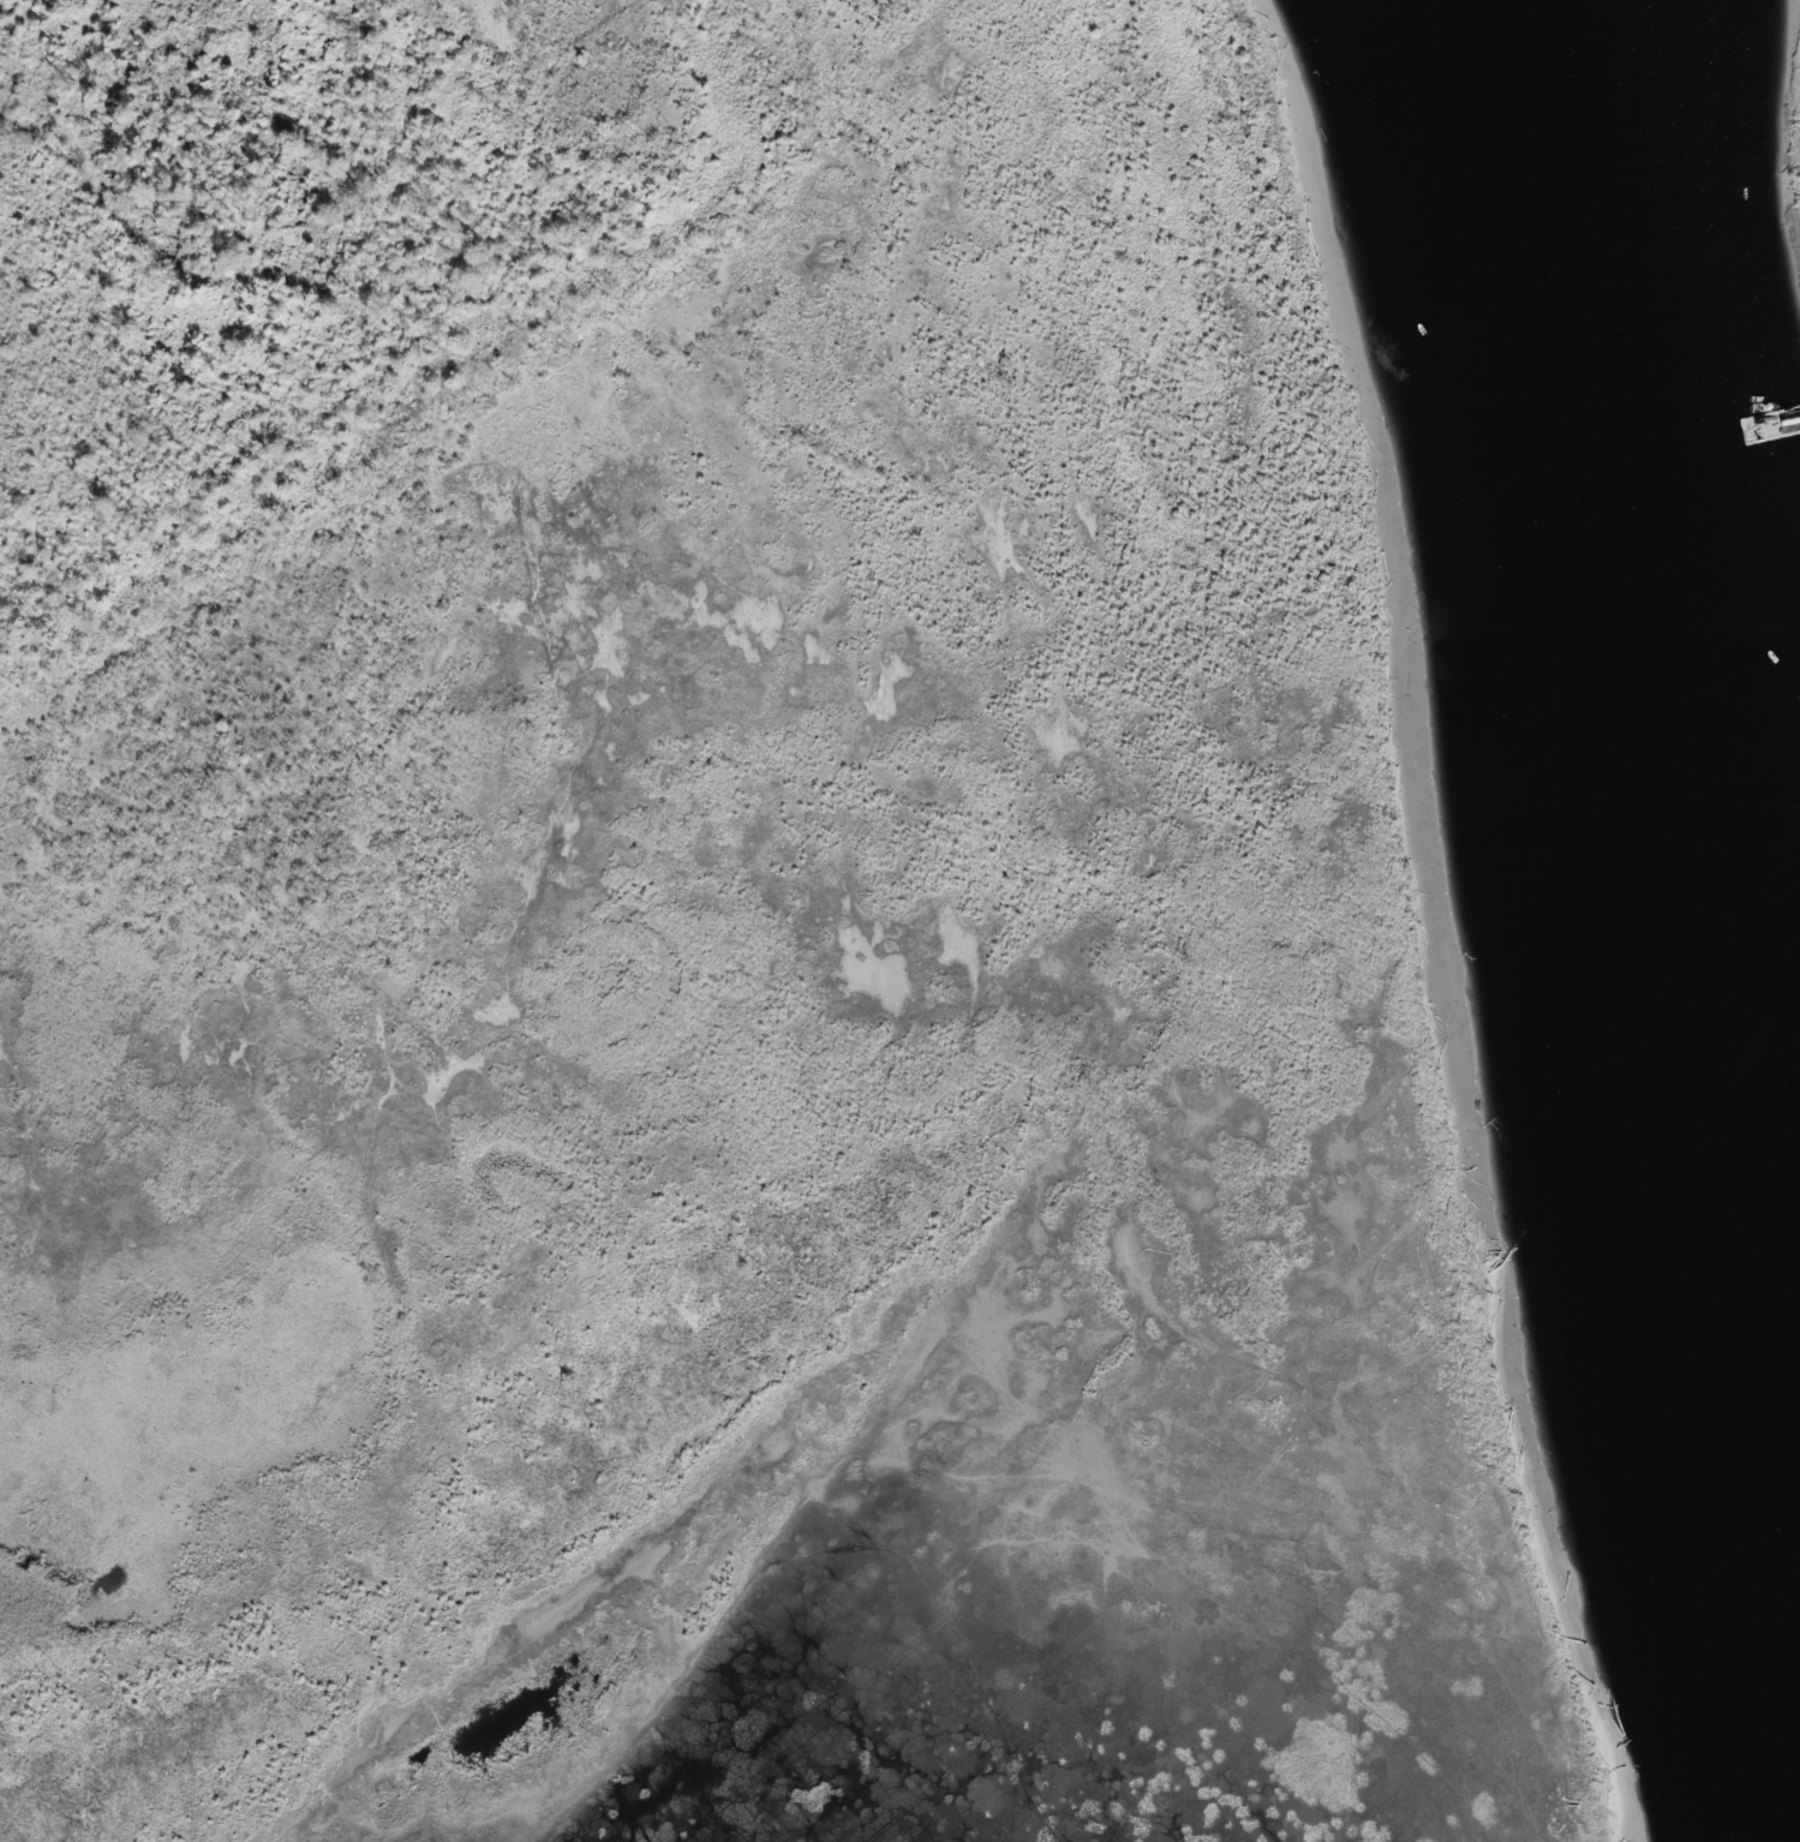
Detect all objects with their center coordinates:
river: (1667, 617)

